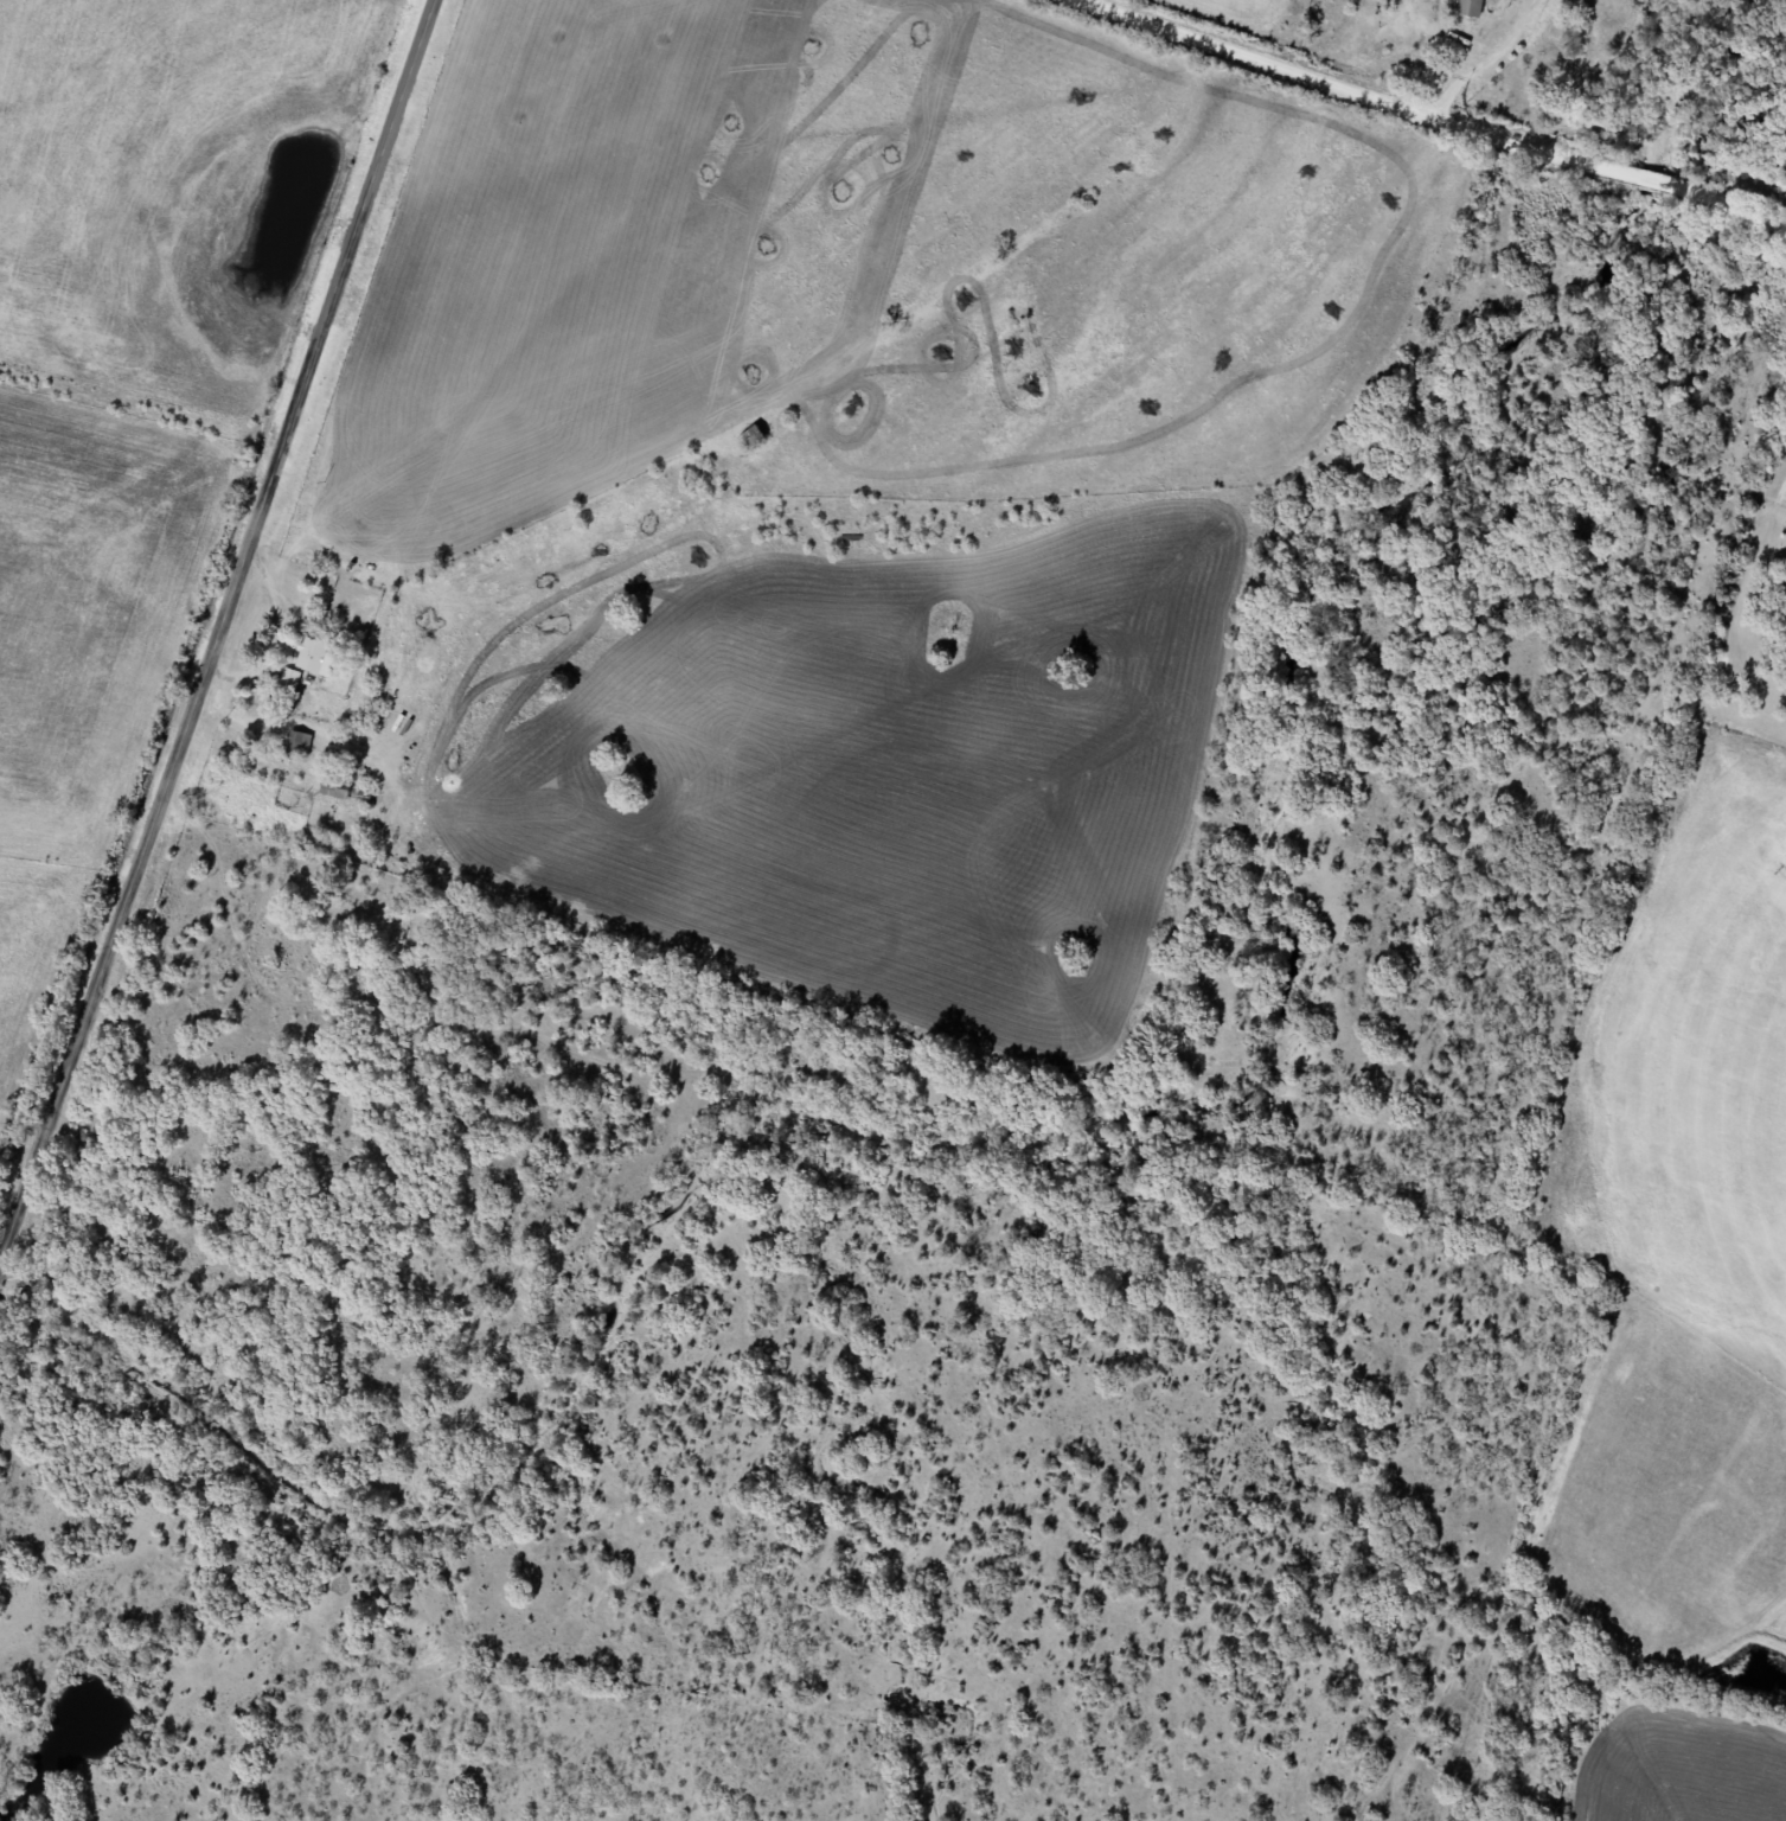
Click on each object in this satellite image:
building: (1472, 8)
road: (1506, 87)
building: (756, 435)
road: (219, 631)
park: (1747, 635)
building: (313, 653)
building: (292, 678)
building: (300, 743)
building: (347, 792)

